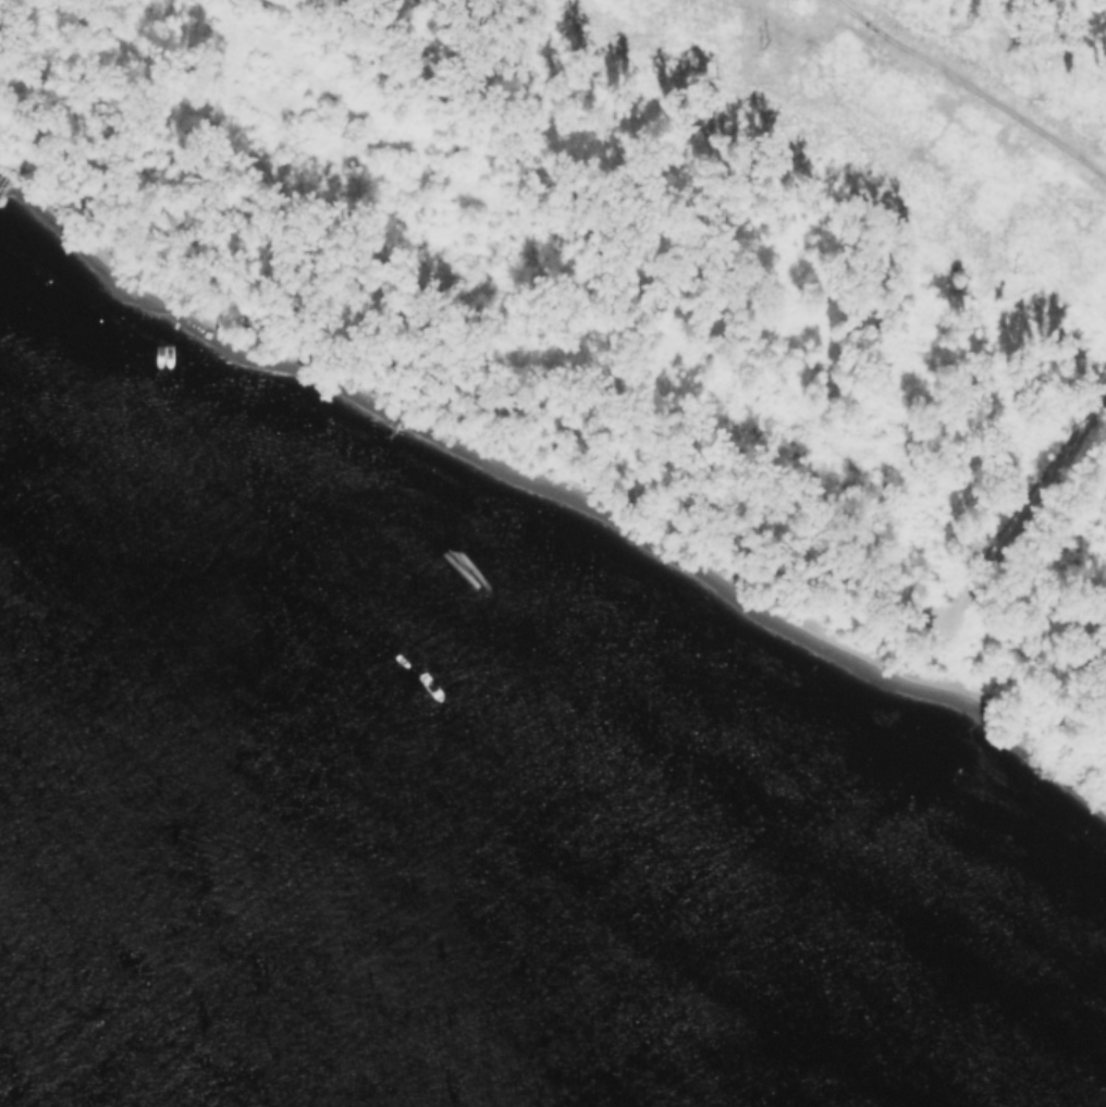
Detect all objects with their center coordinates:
road: (973, 86)
river: (177, 1004)

